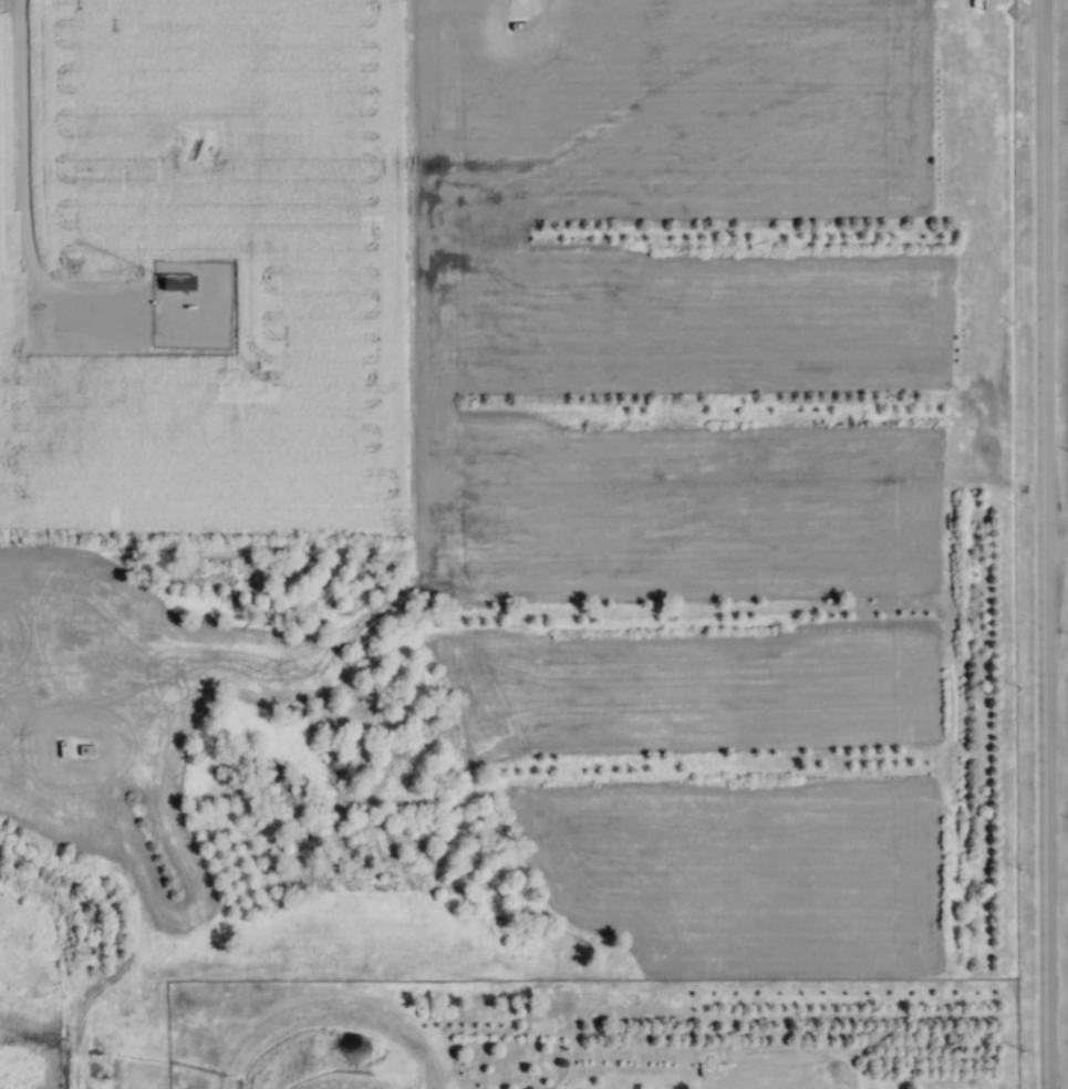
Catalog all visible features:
road: (21, 180)
building: (189, 283)
building: (102, 390)
building: (6, 400)
road: (1043, 544)
building: (85, 751)

